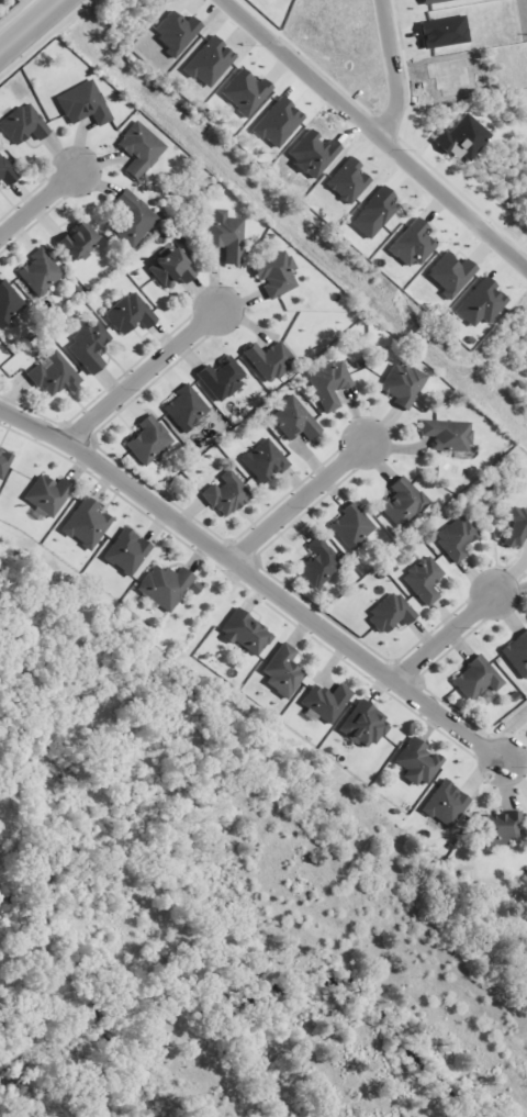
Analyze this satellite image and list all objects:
building: (434, 1)
road: (24, 21)
building: (445, 32)
road: (394, 69)
building: (246, 92)
building: (85, 104)
building: (278, 123)
building: (23, 125)
road: (377, 131)
building: (462, 138)
building: (141, 149)
building: (7, 172)
road: (35, 200)
building: (375, 213)
building: (135, 220)
building: (226, 236)
building: (79, 242)
building: (413, 244)
building: (171, 268)
building: (41, 272)
building: (276, 273)
building: (451, 273)
building: (481, 303)
building: (131, 313)
building: (89, 346)
building: (270, 360)
building: (55, 376)
road: (142, 377)
building: (222, 378)
building: (329, 383)
building: (403, 384)
building: (186, 409)
building: (294, 420)
building: (448, 434)
building: (149, 440)
building: (265, 460)
building: (4, 462)
building: (47, 494)
building: (226, 494)
road: (294, 502)
building: (404, 502)
building: (87, 523)
building: (352, 526)
building: (517, 527)
building: (458, 537)
building: (127, 551)
building: (319, 563)
road: (254, 579)
building: (425, 580)
building: (168, 587)
building: (391, 614)
building: (246, 633)
road: (444, 639)
building: (517, 654)
building: (282, 670)
building: (478, 679)
building: (326, 702)
building: (365, 726)
building: (418, 763)
building: (447, 804)
building: (498, 828)

